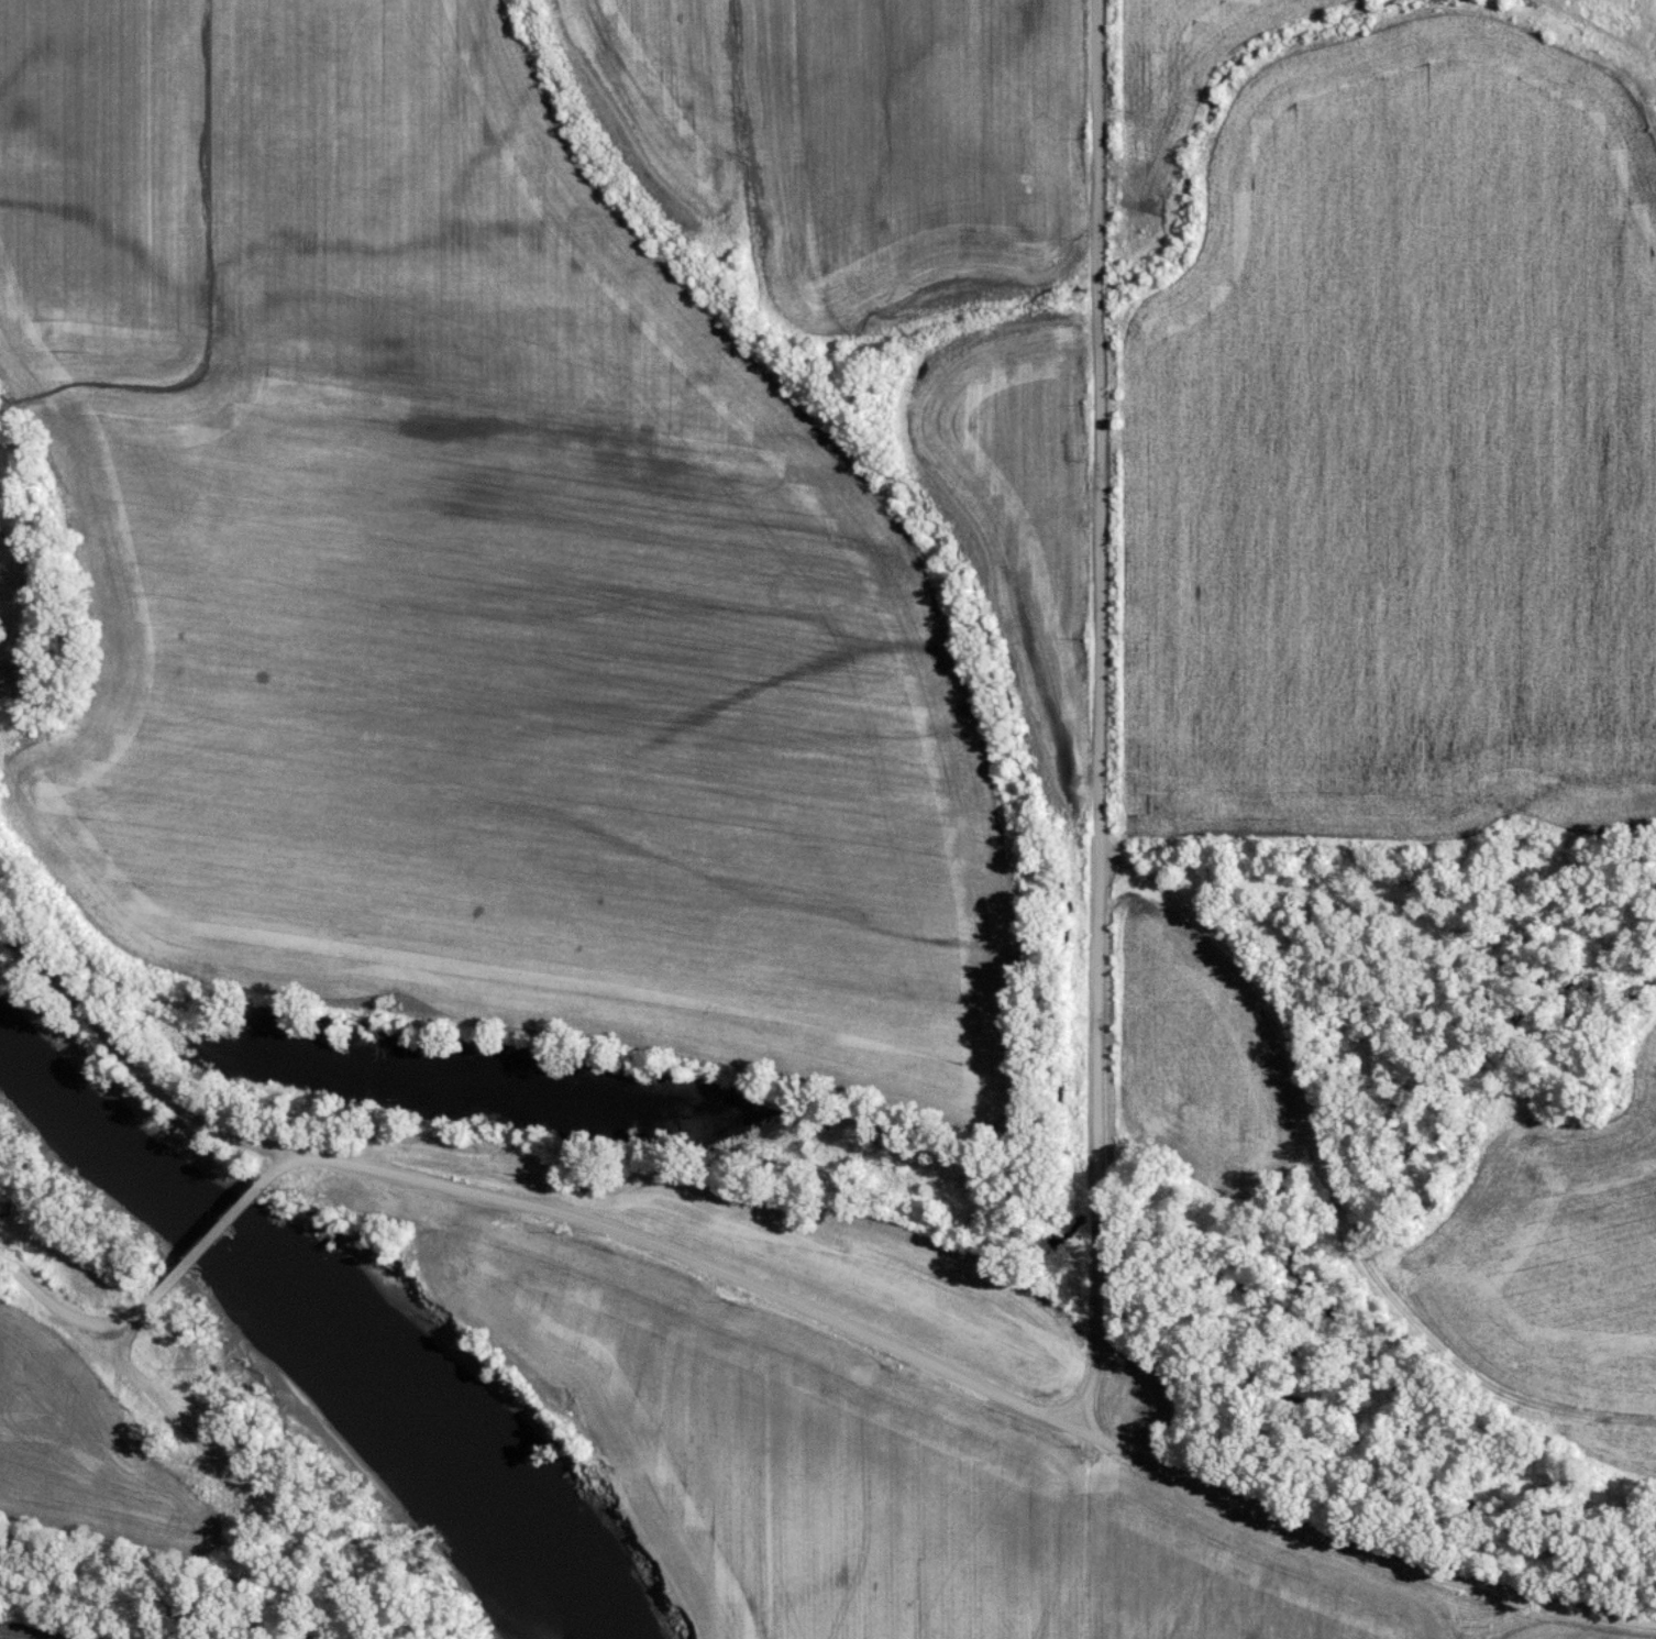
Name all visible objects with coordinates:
road: (1096, 716)
road: (1347, 1176)
road: (214, 1239)
river: (311, 1323)
road: (81, 1325)
road: (965, 1380)

